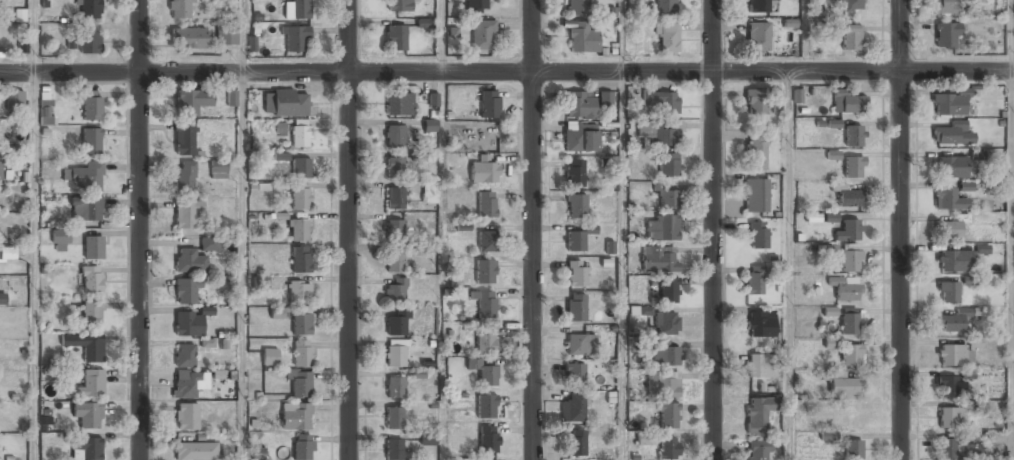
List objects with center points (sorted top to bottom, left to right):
building: (850, 4)
building: (398, 5)
building: (476, 6)
building: (664, 6)
building: (758, 6)
building: (947, 6)
building: (579, 7)
building: (90, 9)
building: (179, 9)
building: (296, 9)
building: (482, 34)
building: (395, 35)
road: (622, 35)
building: (667, 35)
road: (1012, 35)
building: (227, 36)
road: (441, 36)
building: (851, 36)
building: (946, 36)
building: (582, 37)
building: (758, 37)
building: (190, 38)
building: (292, 38)
building: (84, 42)
road: (507, 72)
building: (797, 96)
building: (231, 98)
building: (605, 98)
building: (14, 99)
building: (776, 100)
building: (192, 101)
building: (662, 101)
building: (755, 101)
building: (286, 102)
building: (848, 102)
building: (950, 102)
building: (489, 103)
building: (90, 104)
building: (399, 104)
building: (578, 104)
building: (45, 108)
building: (429, 125)
building: (661, 133)
building: (953, 133)
building: (300, 135)
building: (394, 136)
building: (853, 136)
building: (185, 138)
building: (578, 139)
building: (91, 140)
building: (756, 151)
building: (0, 164)
building: (669, 164)
building: (393, 166)
building: (853, 167)
building: (950, 167)
building: (300, 168)
building: (217, 169)
building: (483, 170)
building: (573, 172)
building: (85, 175)
building: (185, 176)
building: (966, 186)
building: (430, 192)
building: (756, 195)
building: (299, 197)
building: (395, 198)
building: (849, 198)
building: (667, 199)
building: (947, 200)
building: (486, 204)
building: (575, 205)
building: (85, 208)
building: (187, 214)
building: (463, 226)
building: (662, 228)
road: (34, 229)
road: (140, 229)
road: (242, 229)
road: (349, 229)
building: (394, 229)
road: (714, 229)
road: (901, 229)
building: (948, 229)
building: (298, 230)
road: (532, 230)
building: (848, 231)
building: (578, 234)
building: (758, 235)
building: (59, 240)
building: (486, 240)
building: (208, 244)
building: (92, 246)
building: (7, 254)
building: (659, 258)
building: (300, 259)
building: (850, 260)
building: (189, 261)
building: (394, 261)
building: (954, 261)
road: (621, 265)
road: (788, 265)
road: (1012, 265)
building: (485, 270)
building: (576, 272)
building: (92, 278)
building: (972, 280)
building: (756, 282)
building: (260, 283)
building: (845, 287)
building: (298, 290)
building: (395, 290)
building: (668, 290)
building: (186, 291)
building: (948, 292)
building: (2, 298)
building: (484, 302)
building: (575, 307)
building: (829, 311)
building: (91, 313)
building: (277, 313)
building: (850, 320)
building: (953, 321)
building: (188, 323)
building: (301, 323)
building: (664, 323)
building: (395, 324)
building: (760, 324)
building: (485, 339)
building: (579, 344)
building: (85, 346)
building: (302, 353)
building: (185, 354)
building: (395, 354)
building: (664, 354)
building: (850, 354)
building: (953, 355)
building: (270, 357)
building: (760, 366)
building: (484, 373)
building: (574, 373)
building: (843, 382)
building: (188, 383)
building: (300, 384)
building: (662, 384)
building: (88, 385)
building: (949, 386)
building: (395, 387)
building: (485, 405)
building: (572, 409)
building: (758, 413)
building: (850, 413)
building: (87, 414)
building: (295, 415)
building: (668, 415)
building: (187, 416)
building: (950, 417)
building: (393, 418)
building: (643, 438)
building: (428, 439)
building: (488, 439)
building: (576, 443)
building: (302, 446)
building: (945, 448)
building: (86, 449)
building: (393, 449)
building: (668, 449)
building: (853, 449)
building: (757, 450)
building: (196, 451)

